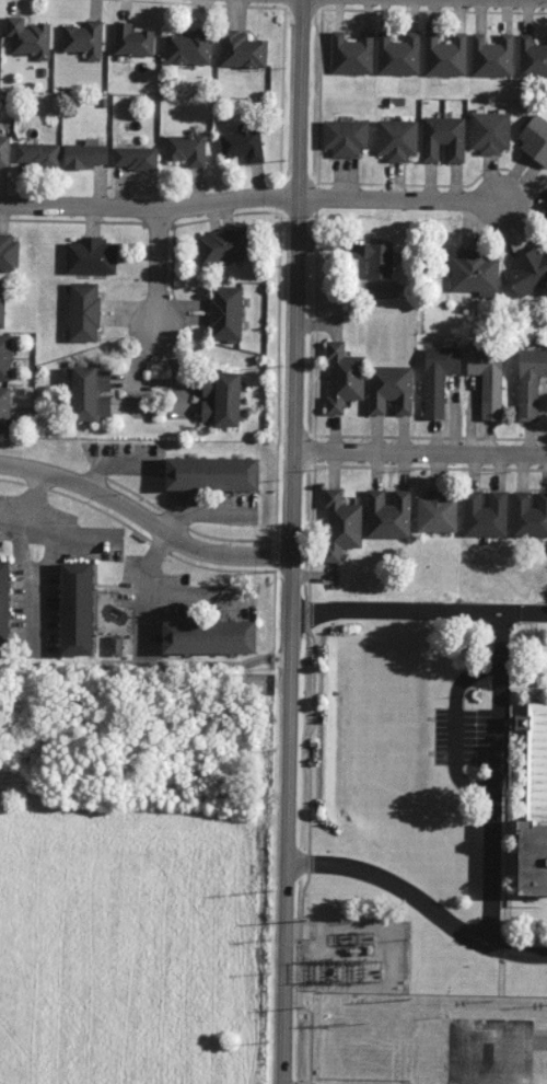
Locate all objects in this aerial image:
building: (28, 37)
building: (84, 39)
building: (132, 39)
building: (189, 47)
building: (242, 50)
building: (351, 54)
building: (398, 55)
building: (444, 55)
building: (491, 56)
building: (532, 57)
building: (490, 131)
building: (345, 137)
building: (443, 138)
building: (397, 139)
building: (535, 140)
building: (242, 145)
building: (186, 149)
building: (4, 151)
building: (37, 153)
building: (85, 155)
building: (135, 158)
road: (404, 199)
road: (149, 208)
building: (223, 246)
building: (9, 253)
building: (91, 256)
building: (380, 260)
building: (528, 270)
building: (475, 273)
road: (155, 275)
building: (2, 303)
building: (84, 311)
building: (225, 312)
building: (5, 356)
building: (344, 377)
building: (439, 378)
building: (488, 379)
building: (529, 382)
building: (391, 389)
building: (90, 393)
building: (221, 400)
building: (4, 408)
road: (420, 453)
building: (212, 473)
road: (36, 493)
building: (438, 511)
building: (388, 514)
building: (485, 514)
building: (528, 515)
road: (143, 519)
road: (56, 523)
building: (341, 524)
road: (292, 541)
building: (4, 606)
building: (77, 608)
road: (515, 611)
building: (209, 636)
building: (116, 645)
road: (455, 725)
road: (493, 776)
building: (534, 800)
road: (505, 952)
power substation: (356, 956)

